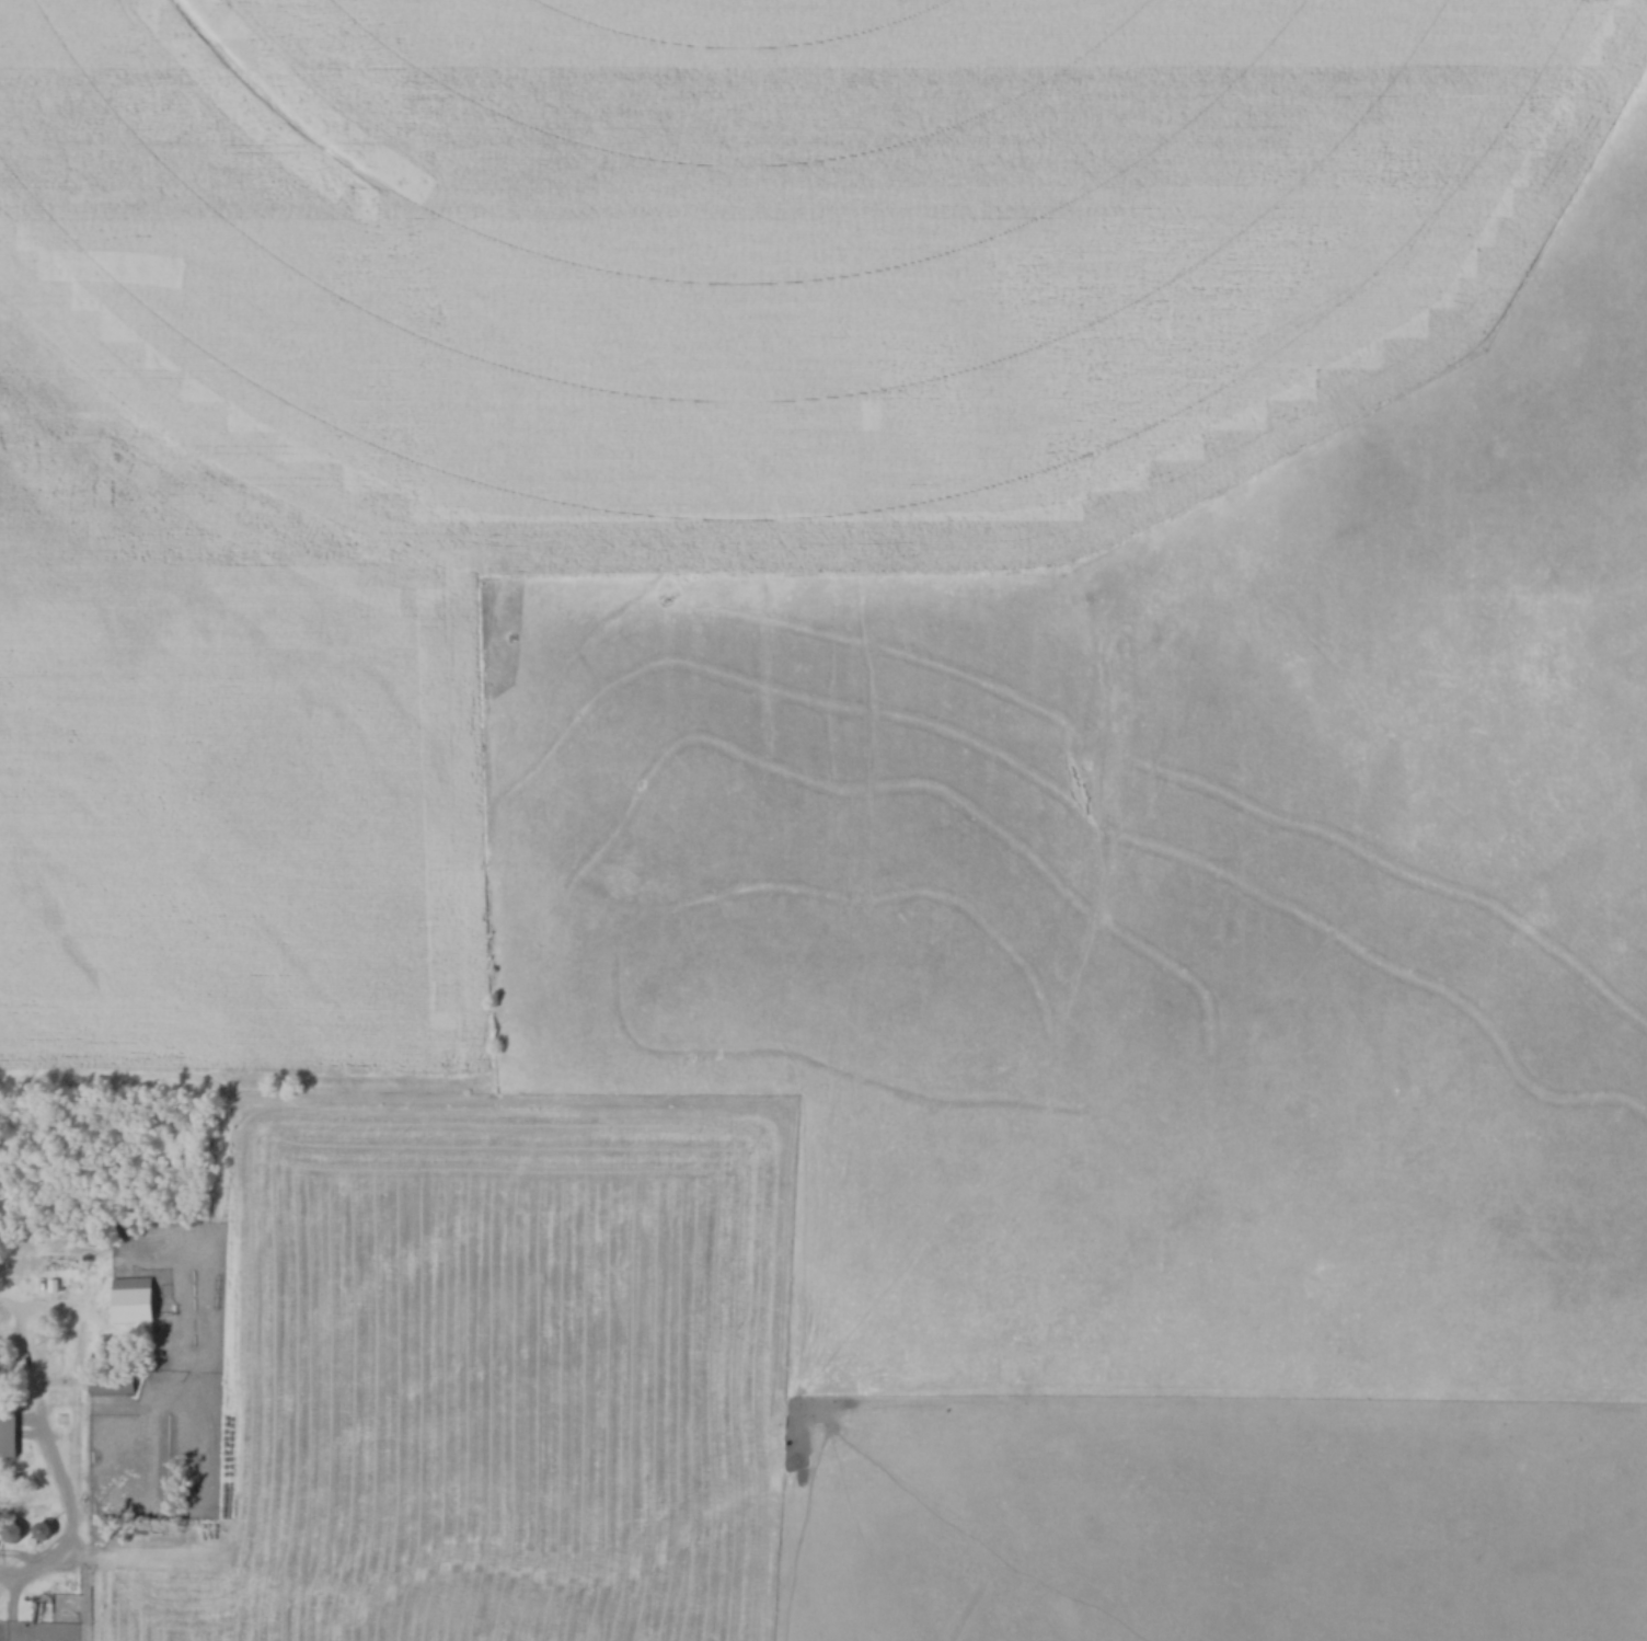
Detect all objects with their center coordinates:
building: (58, 1263)
building: (134, 1300)
building: (112, 1382)
building: (8, 1436)
road: (70, 1441)
building: (41, 1533)
building: (12, 1535)

